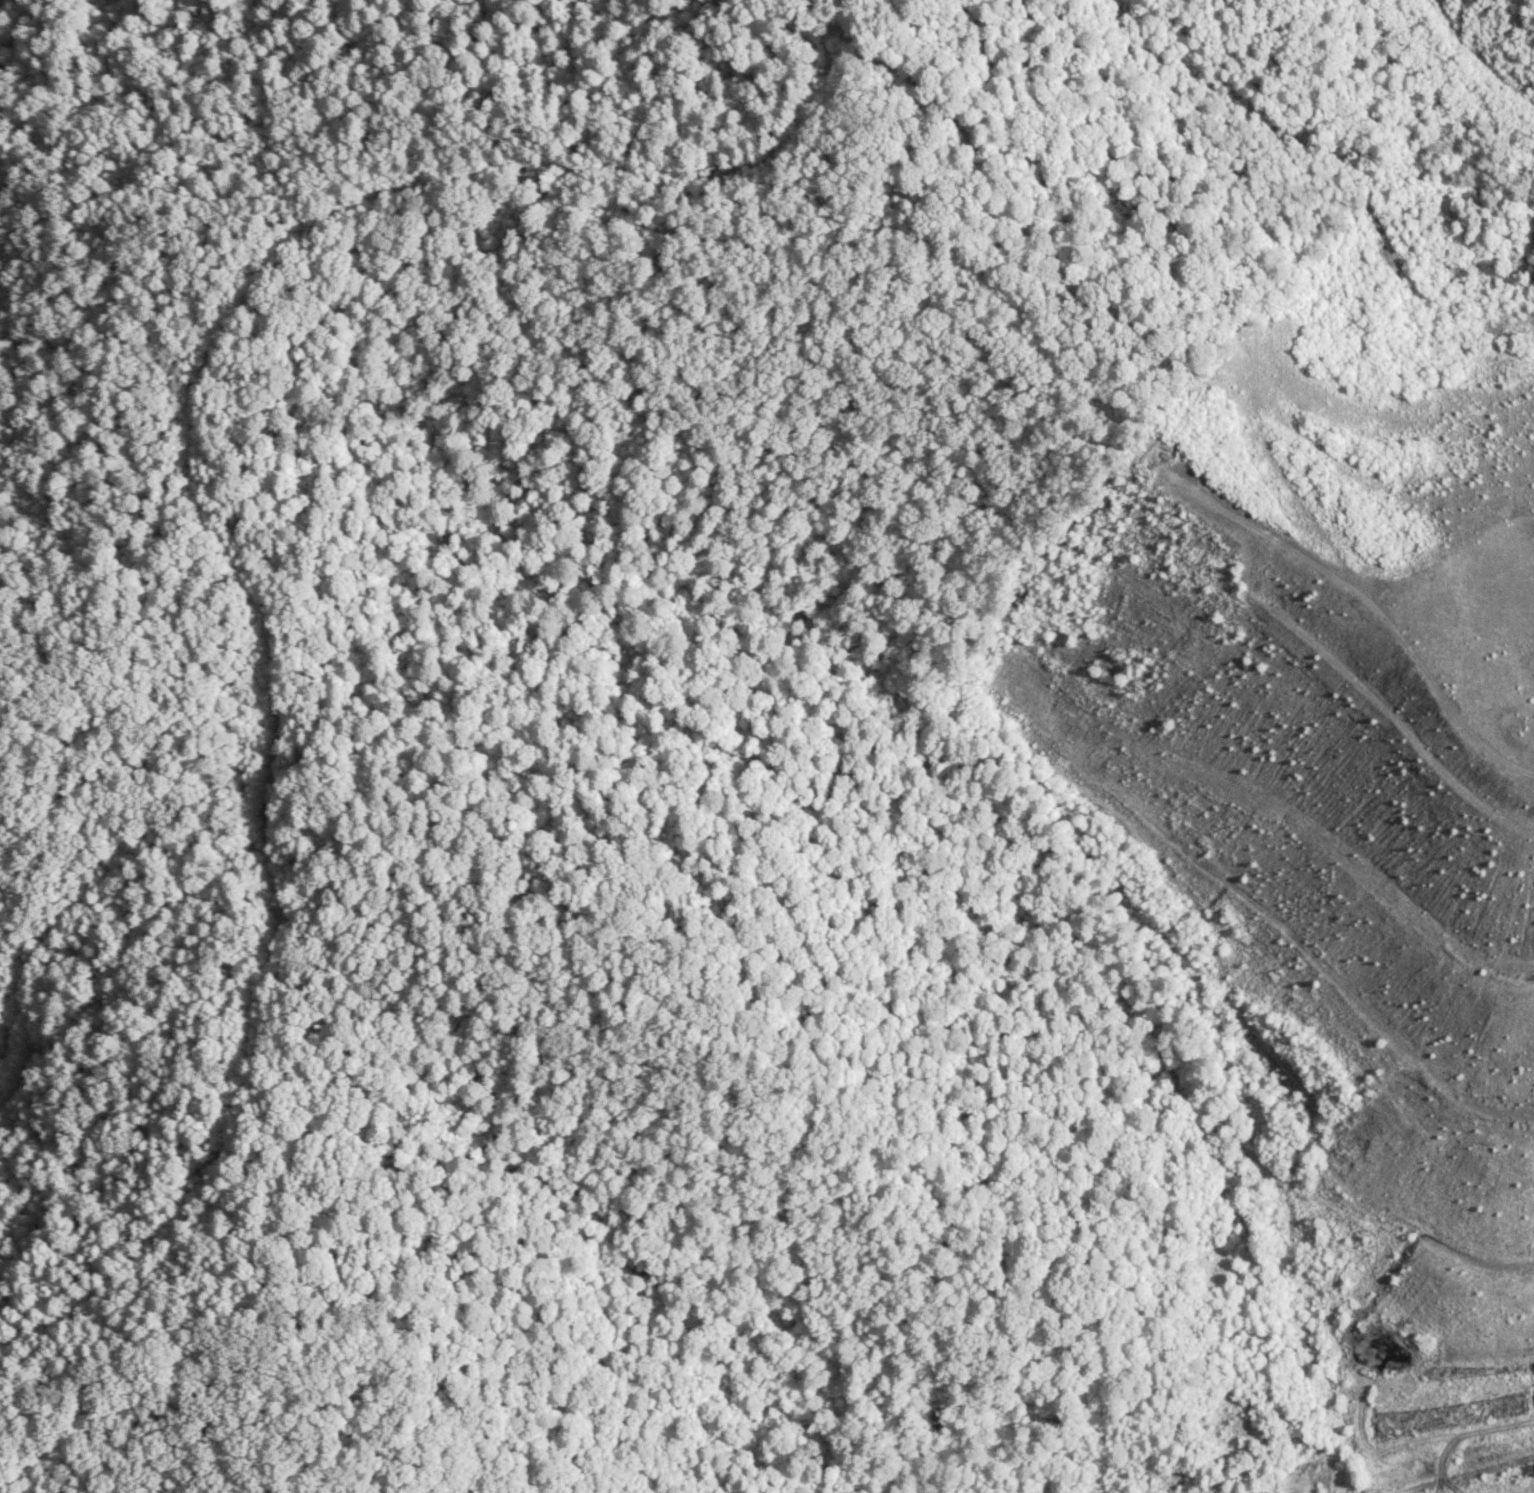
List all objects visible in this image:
road: (275, 511)
quarry: (1335, 844)

